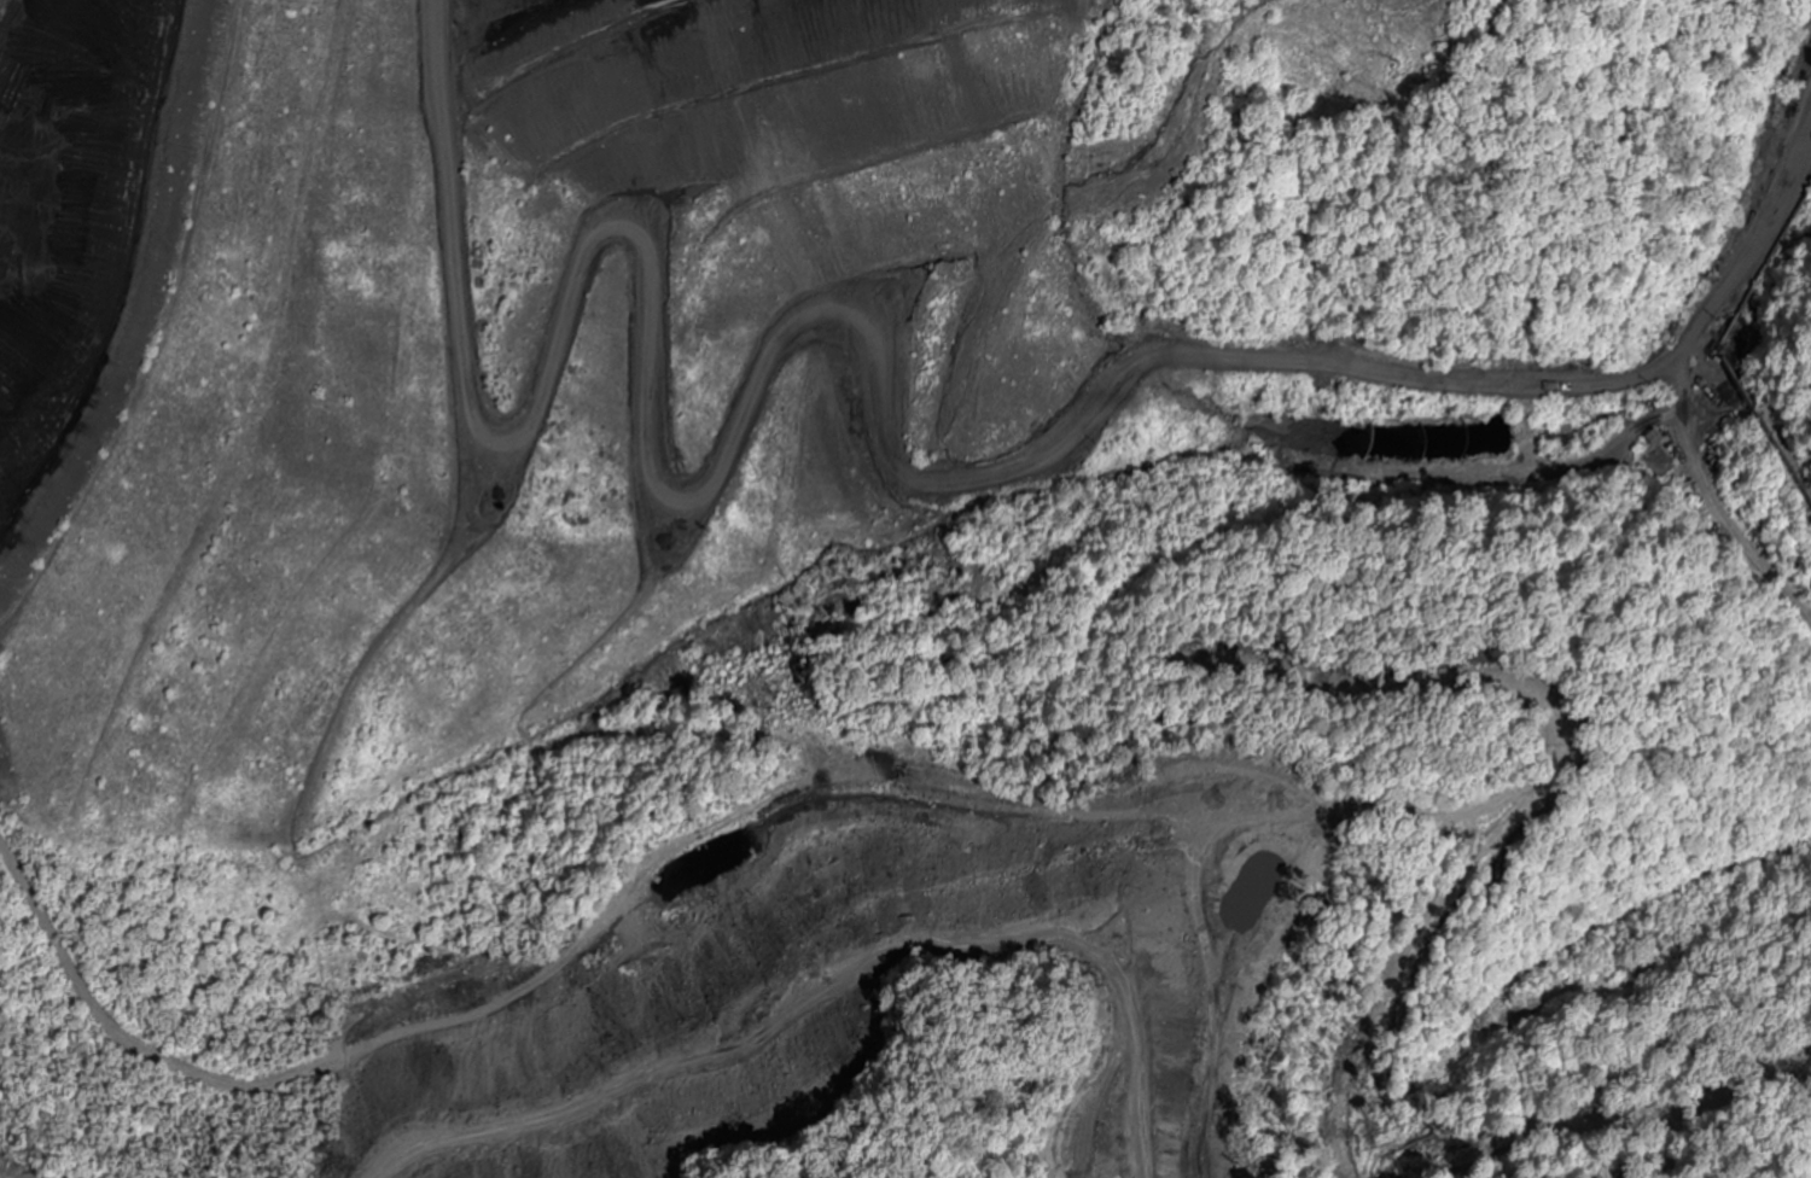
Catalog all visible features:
building: (1659, 456)
quarry: (869, 542)

